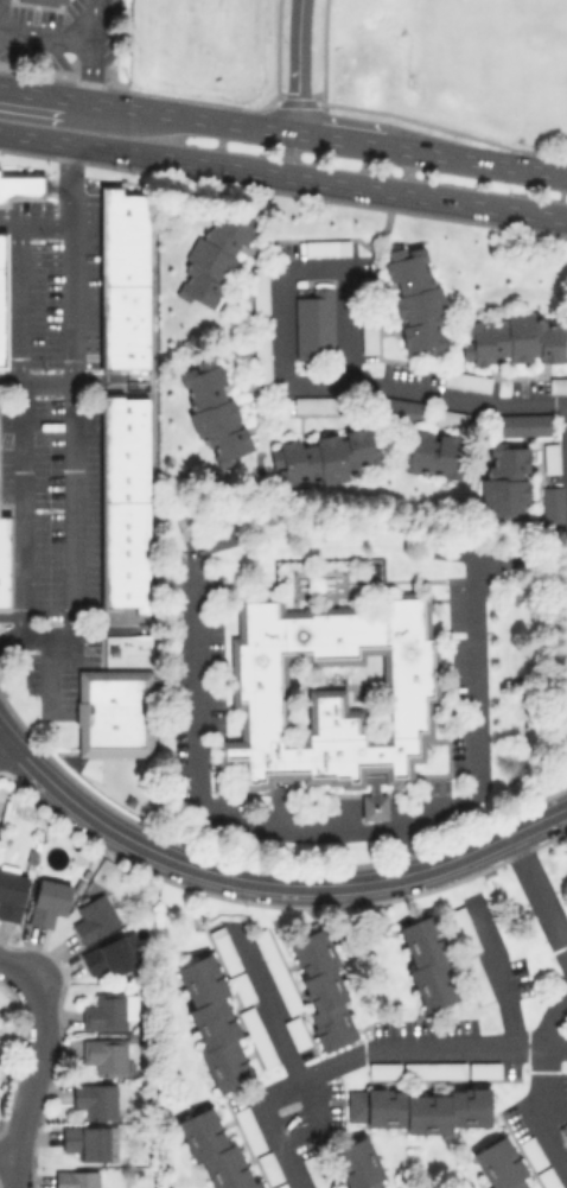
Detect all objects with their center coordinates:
building: (44, 1)
road: (45, 37)
road: (89, 50)
road: (297, 65)
road: (44, 94)
road: (193, 116)
road: (344, 140)
road: (479, 160)
road: (282, 174)
building: (20, 185)
road: (21, 185)
road: (56, 185)
road: (7, 224)
road: (376, 235)
building: (325, 247)
building: (214, 256)
building: (121, 278)
road: (283, 279)
building: (259, 288)
building: (414, 298)
building: (2, 299)
building: (312, 323)
building: (368, 335)
building: (514, 338)
road: (33, 380)
building: (465, 380)
building: (558, 385)
road: (18, 402)
road: (455, 402)
building: (314, 404)
building: (396, 408)
building: (212, 409)
building: (450, 417)
building: (522, 423)
road: (566, 423)
road: (69, 424)
parking lot: (56, 445)
building: (433, 453)
building: (324, 456)
building: (550, 457)
building: (504, 479)
building: (123, 501)
building: (550, 503)
road: (479, 553)
building: (5, 561)
road: (49, 671)
building: (329, 694)
building: (113, 712)
road: (1, 742)
road: (329, 830)
road: (404, 850)
road: (268, 882)
road: (539, 892)
building: (11, 894)
building: (47, 900)
building: (94, 917)
building: (463, 929)
building: (223, 948)
building: (110, 955)
building: (427, 961)
road: (12, 966)
building: (275, 970)
road: (497, 971)
building: (474, 979)
building: (241, 986)
building: (320, 987)
building: (104, 1011)
road: (275, 1021)
building: (211, 1022)
building: (295, 1033)
building: (256, 1036)
road: (358, 1050)
building: (106, 1055)
building: (382, 1069)
building: (433, 1069)
building: (483, 1069)
road: (33, 1079)
road: (541, 1089)
building: (95, 1099)
building: (418, 1108)
building: (248, 1129)
road: (548, 1139)
building: (88, 1141)
building: (566, 1145)
building: (214, 1151)
building: (531, 1152)
road: (7, 1154)
building: (356, 1164)
building: (498, 1164)
building: (268, 1167)
building: (314, 1171)
building: (547, 1177)
building: (76, 1179)
building: (383, 1179)
building: (279, 1186)

